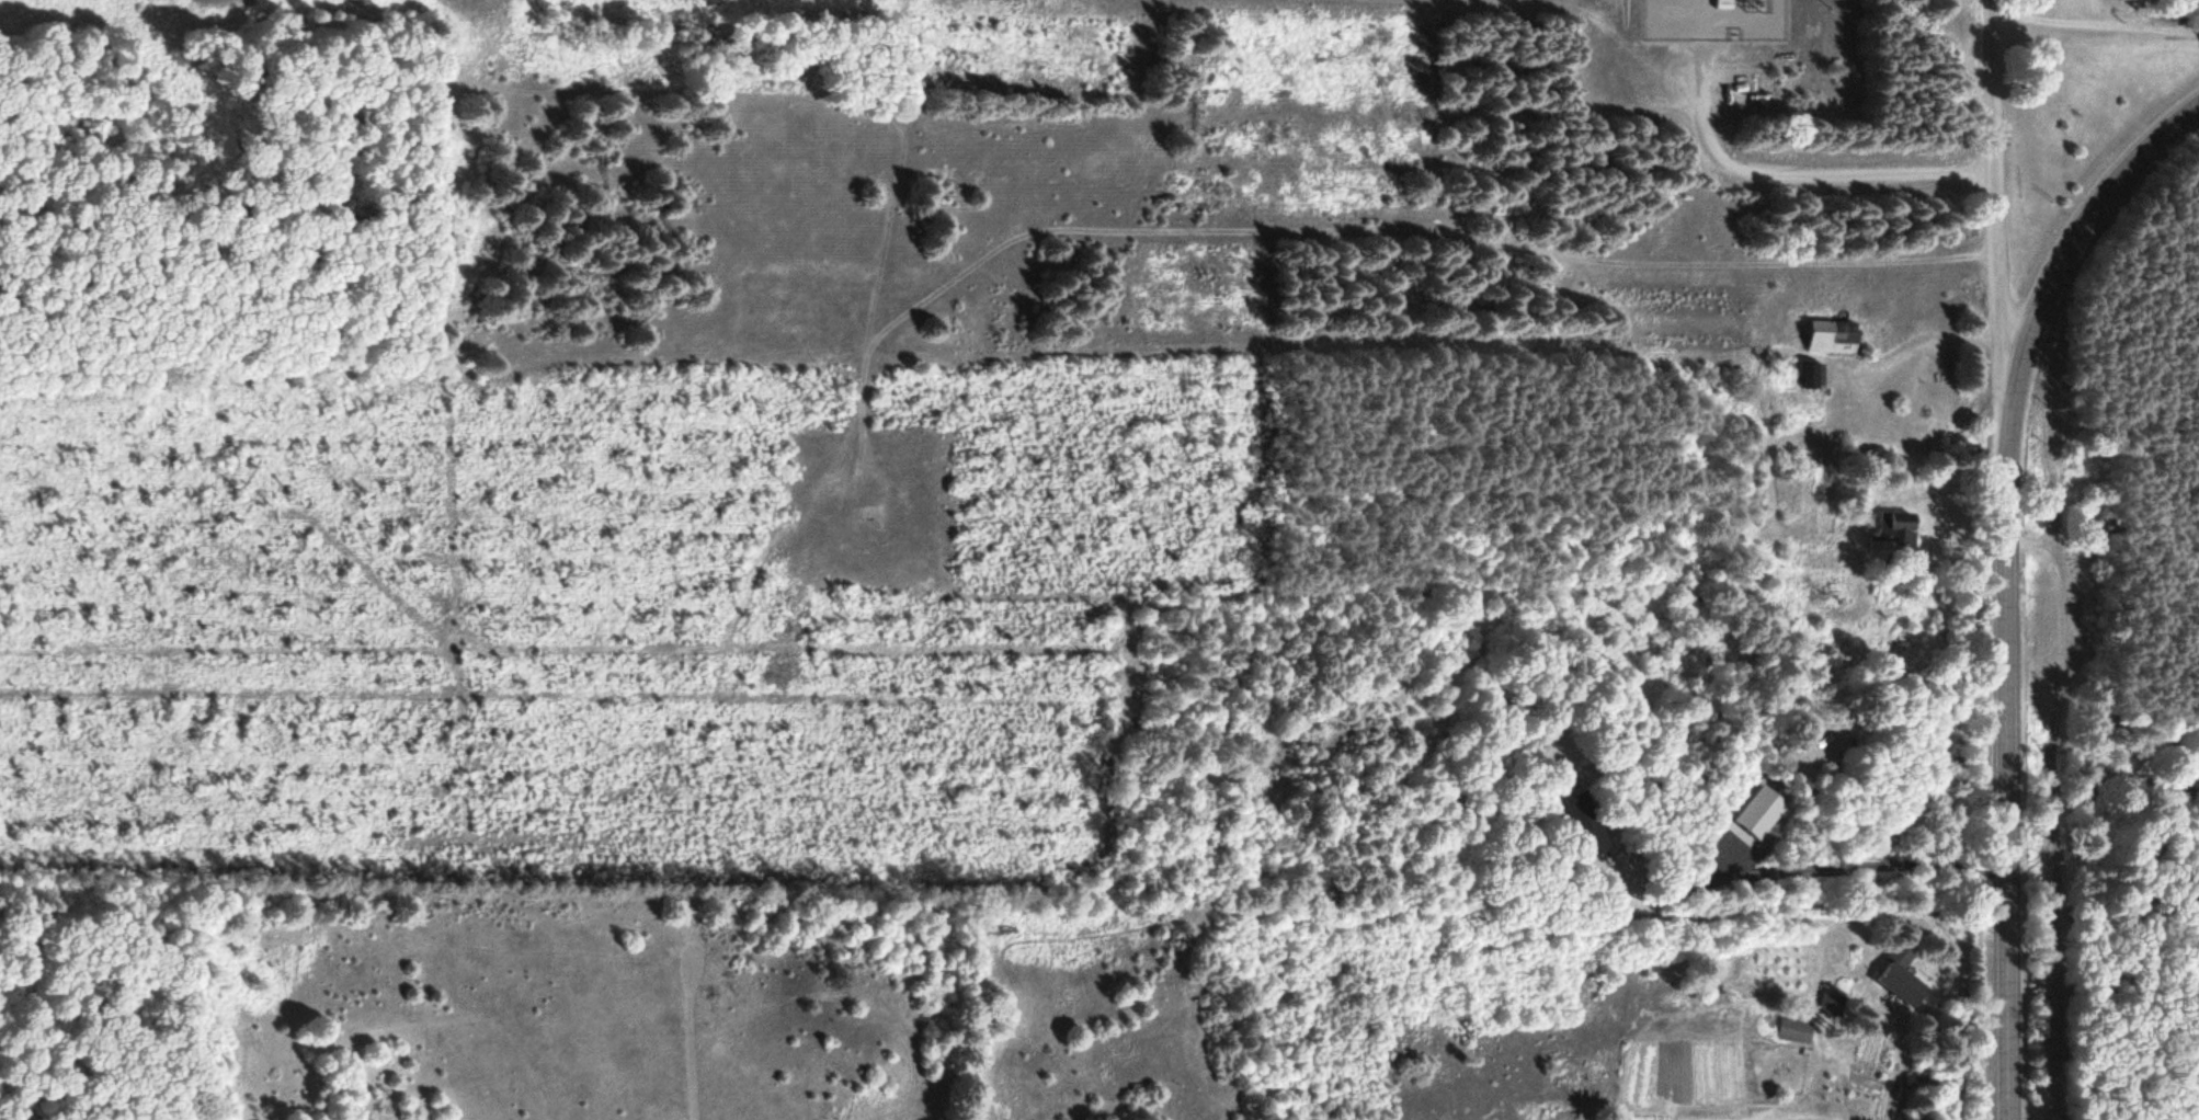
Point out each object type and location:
power substation: (1717, 19)
road: (2096, 23)
road: (1793, 175)
road: (1994, 203)
building: (1838, 335)
building: (1819, 374)
building: (1903, 521)
road: (2006, 581)
building: (2196, 790)
building: (1904, 975)
building: (1836, 1003)
building: (1799, 1030)

